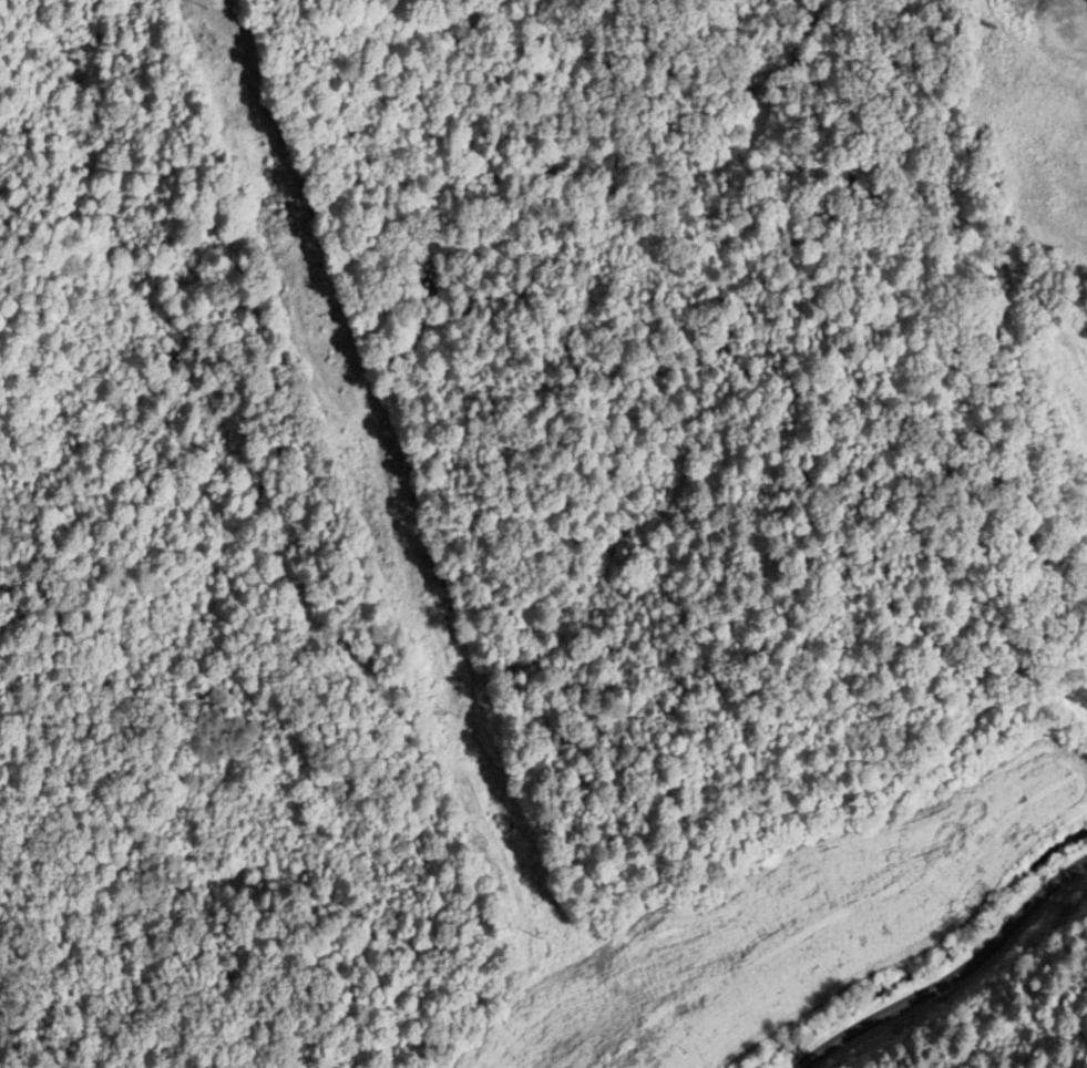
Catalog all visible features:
road: (953, 977)

